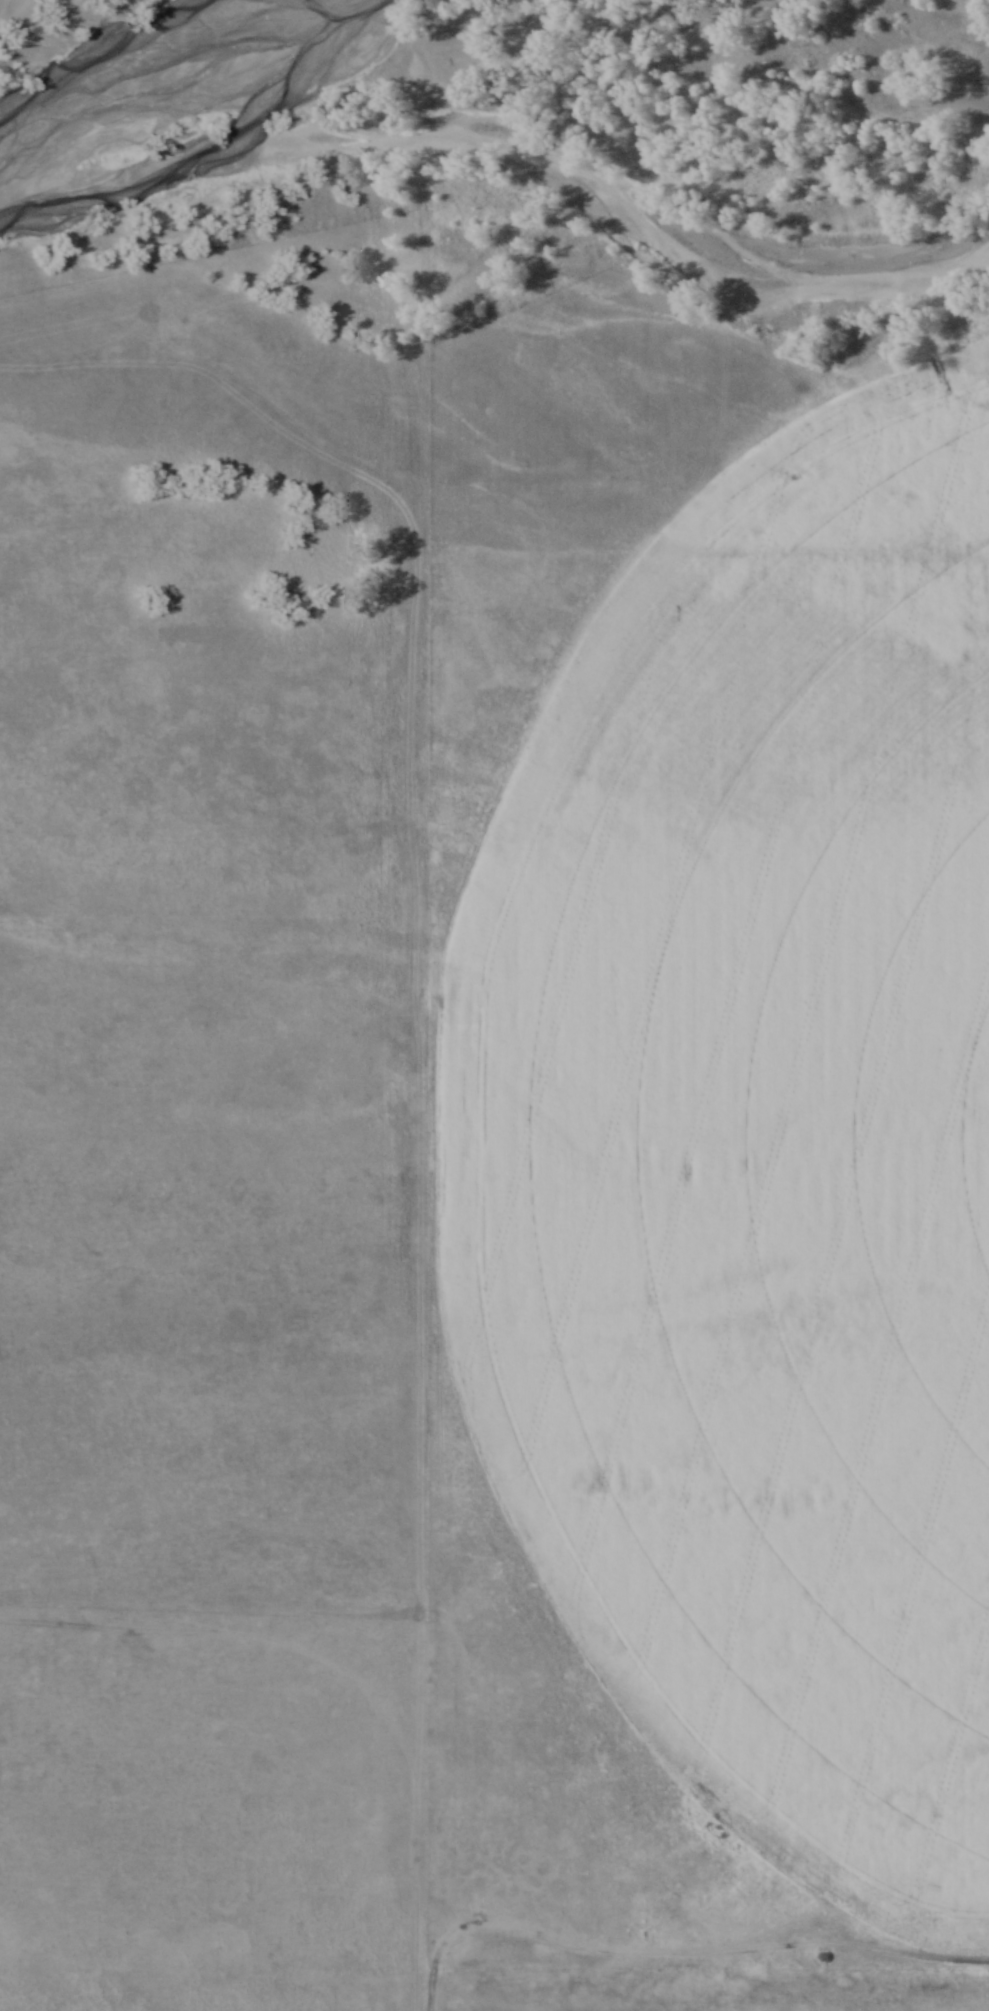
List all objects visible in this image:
river: (114, 52)

